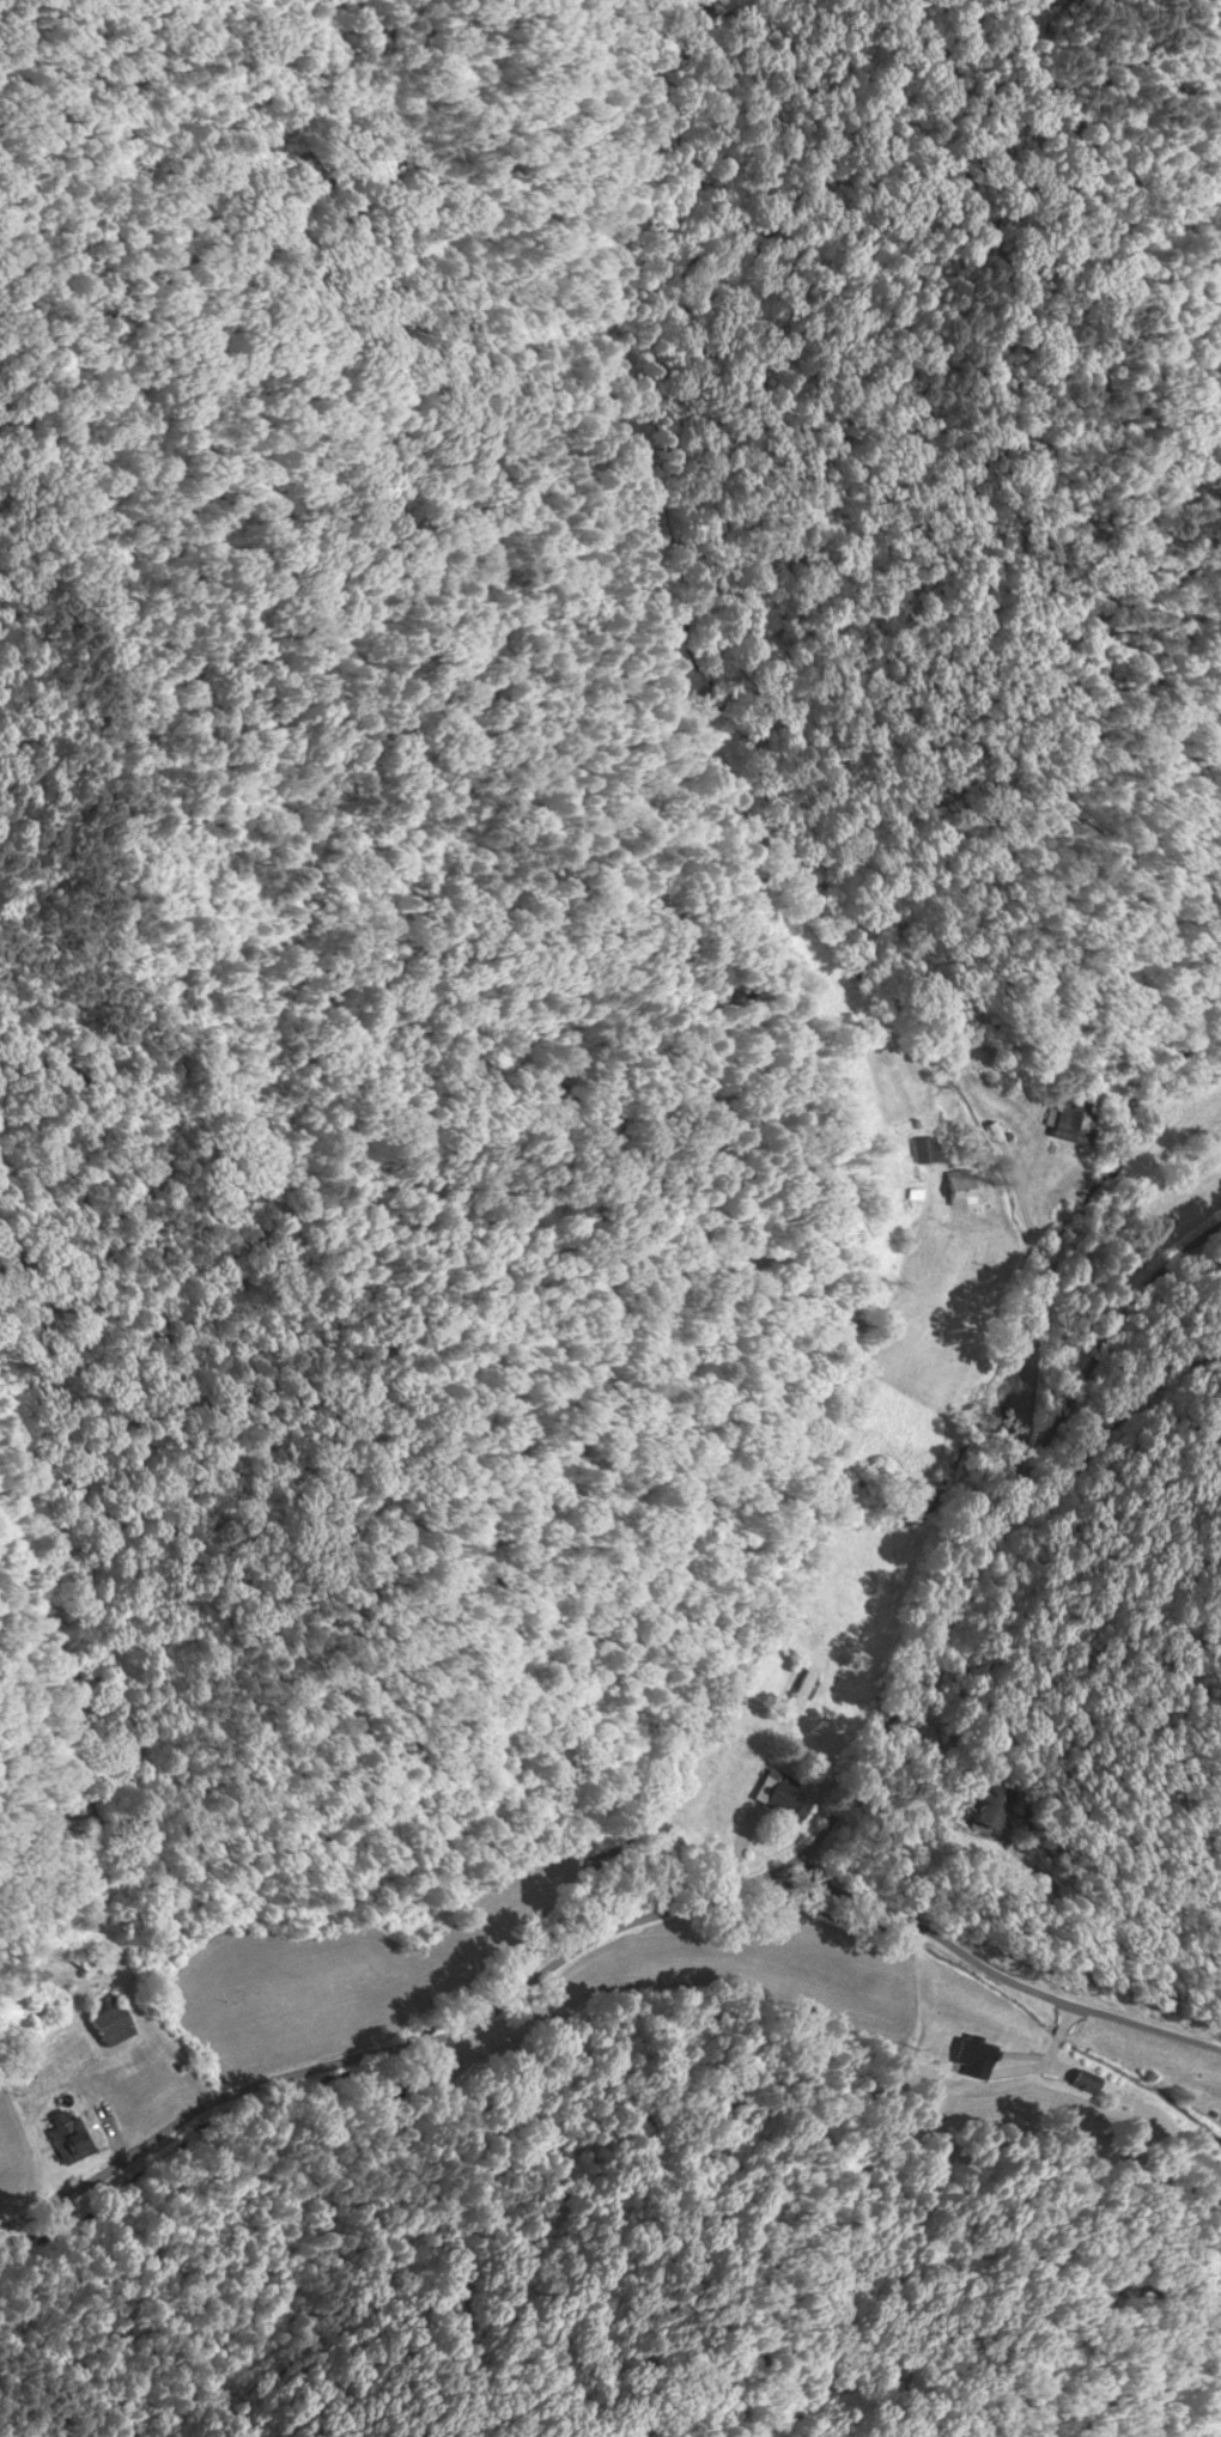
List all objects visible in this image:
building: (1070, 1120)
building: (922, 1148)
building: (958, 1186)
building: (797, 1691)
building: (773, 1789)
building: (985, 1806)
road: (753, 1885)
building: (89, 1958)
road: (1001, 1975)
building: (105, 2019)
building: (972, 2054)
building: (66, 2137)

